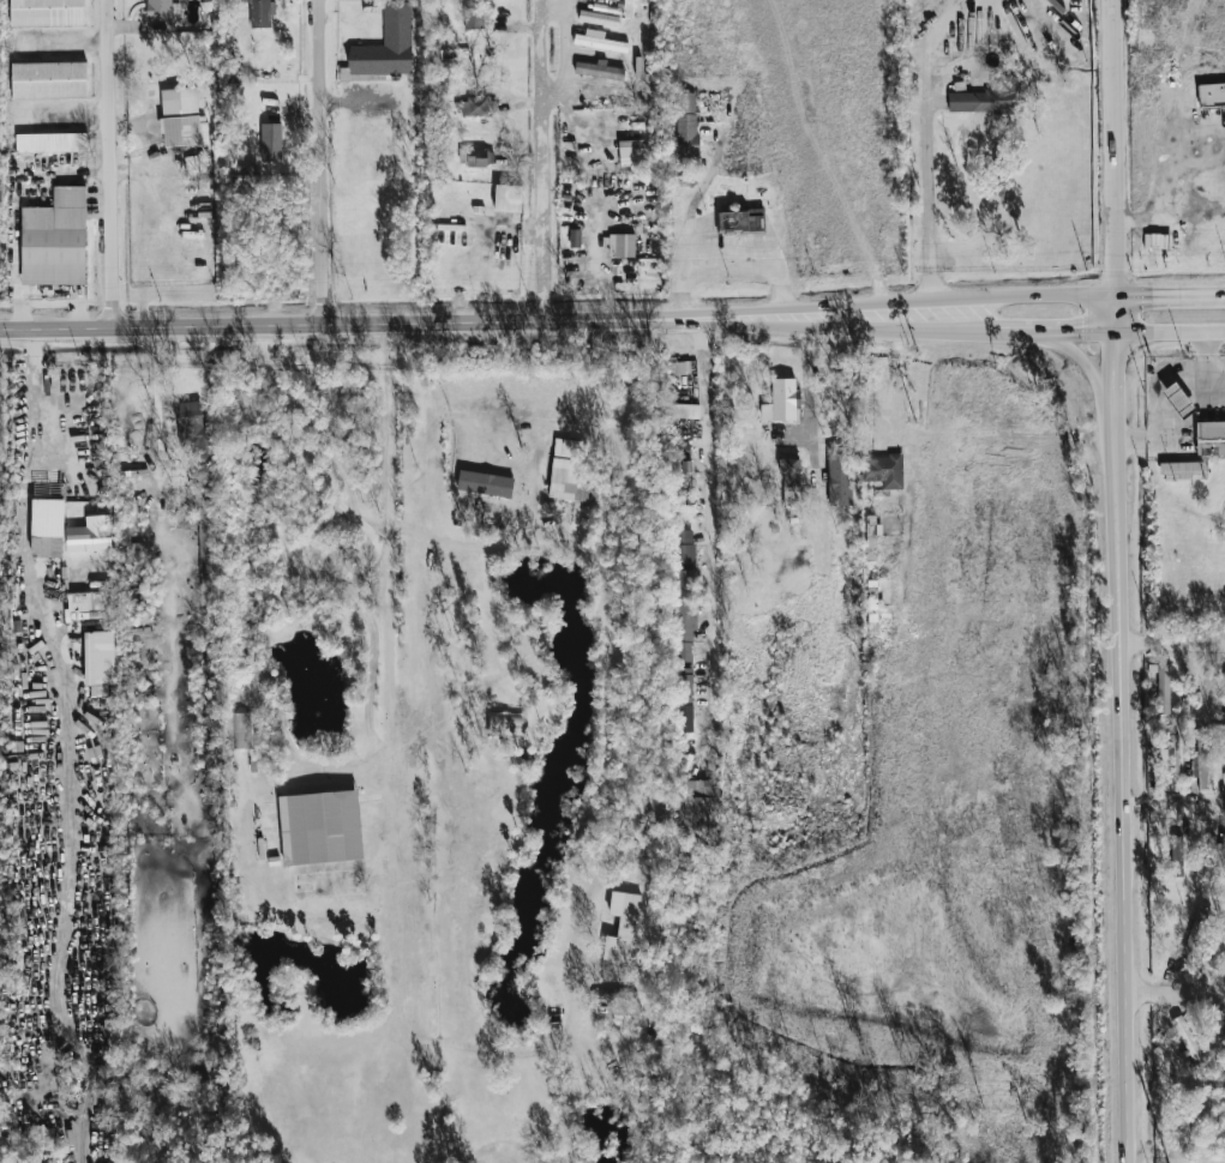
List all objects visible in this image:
building: (615, 0)
building: (161, 8)
building: (47, 13)
building: (260, 13)
road: (551, 17)
building: (472, 19)
building: (598, 19)
building: (598, 41)
building: (386, 46)
road: (925, 52)
road: (563, 60)
building: (599, 71)
building: (48, 80)
building: (1211, 95)
building: (986, 97)
building: (472, 107)
building: (181, 120)
building: (685, 125)
building: (50, 143)
building: (270, 143)
road: (1110, 146)
building: (631, 152)
building: (479, 158)
road: (539, 161)
road: (317, 162)
road: (108, 164)
building: (506, 199)
road: (929, 201)
road: (693, 204)
building: (739, 222)
building: (54, 240)
building: (1157, 241)
building: (620, 245)
road: (728, 270)
road: (1169, 291)
road: (1053, 294)
road: (782, 300)
road: (679, 306)
road: (798, 307)
road: (301, 325)
road: (777, 325)
road: (973, 332)
road: (1053, 333)
road: (1169, 336)
road: (1212, 364)
building: (678, 368)
road: (1113, 369)
road: (1089, 374)
road: (807, 381)
road: (896, 384)
road: (37, 393)
building: (1177, 398)
gas station: (1177, 398)
building: (782, 399)
building: (683, 411)
building: (192, 429)
road: (1177, 434)
building: (1211, 439)
building: (679, 458)
building: (1179, 468)
building: (564, 469)
building: (882, 471)
road: (160, 472)
building: (199, 474)
building: (839, 477)
building: (789, 478)
building: (47, 520)
building: (89, 535)
road: (390, 536)
road: (711, 544)
building: (684, 547)
road: (461, 552)
building: (208, 564)
building: (685, 584)
building: (85, 603)
building: (684, 620)
road: (1171, 643)
building: (683, 653)
building: (98, 658)
building: (683, 681)
building: (1163, 688)
building: (683, 700)
building: (684, 719)
building: (240, 731)
building: (1172, 754)
building: (1200, 760)
building: (698, 806)
road: (1119, 806)
road: (1172, 811)
building: (319, 827)
building: (1211, 845)
building: (1175, 856)
building: (621, 926)
building: (1195, 933)
building: (1217, 951)
road: (1173, 994)
building: (1223, 1035)
building: (41, 1137)
road: (1175, 1156)

